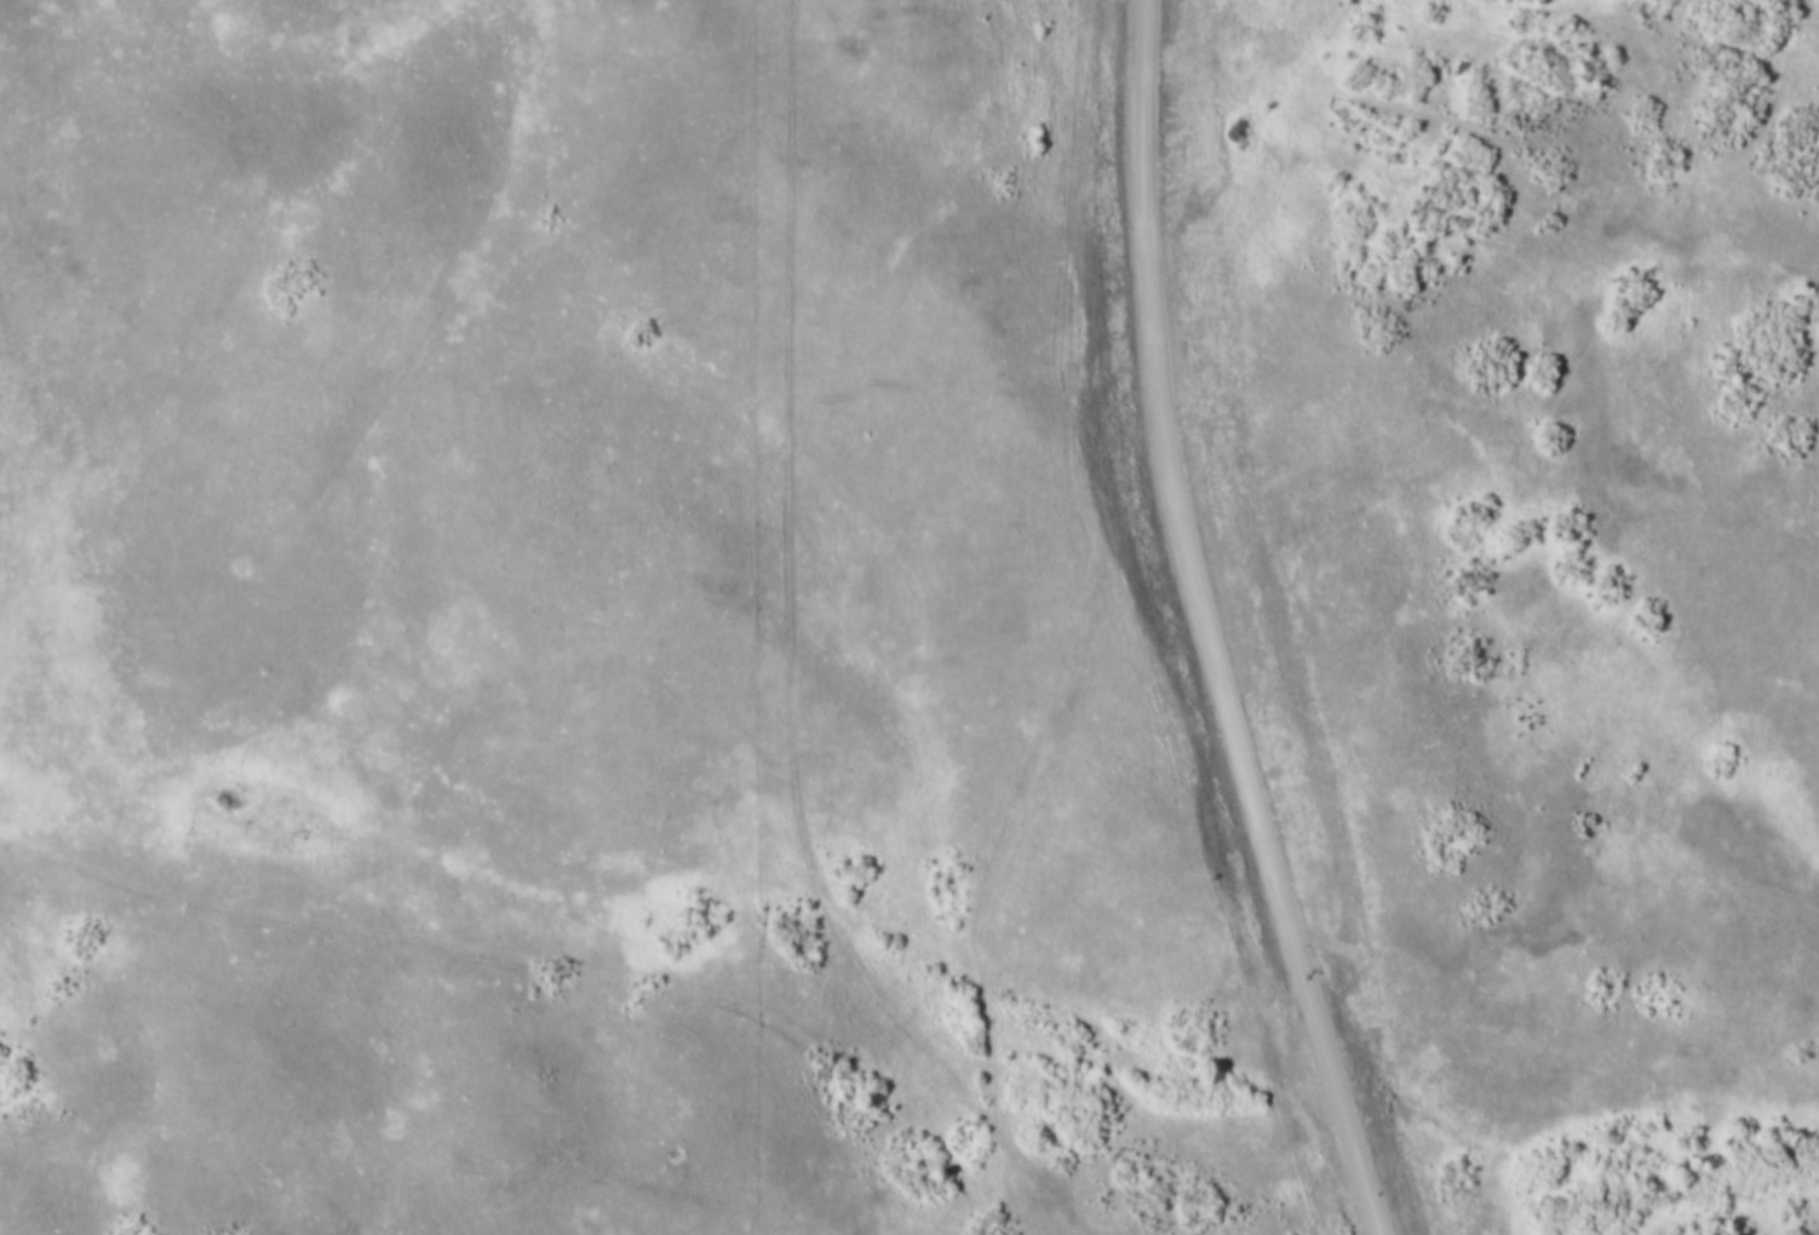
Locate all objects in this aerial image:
road: (1203, 626)
road: (555, 961)

